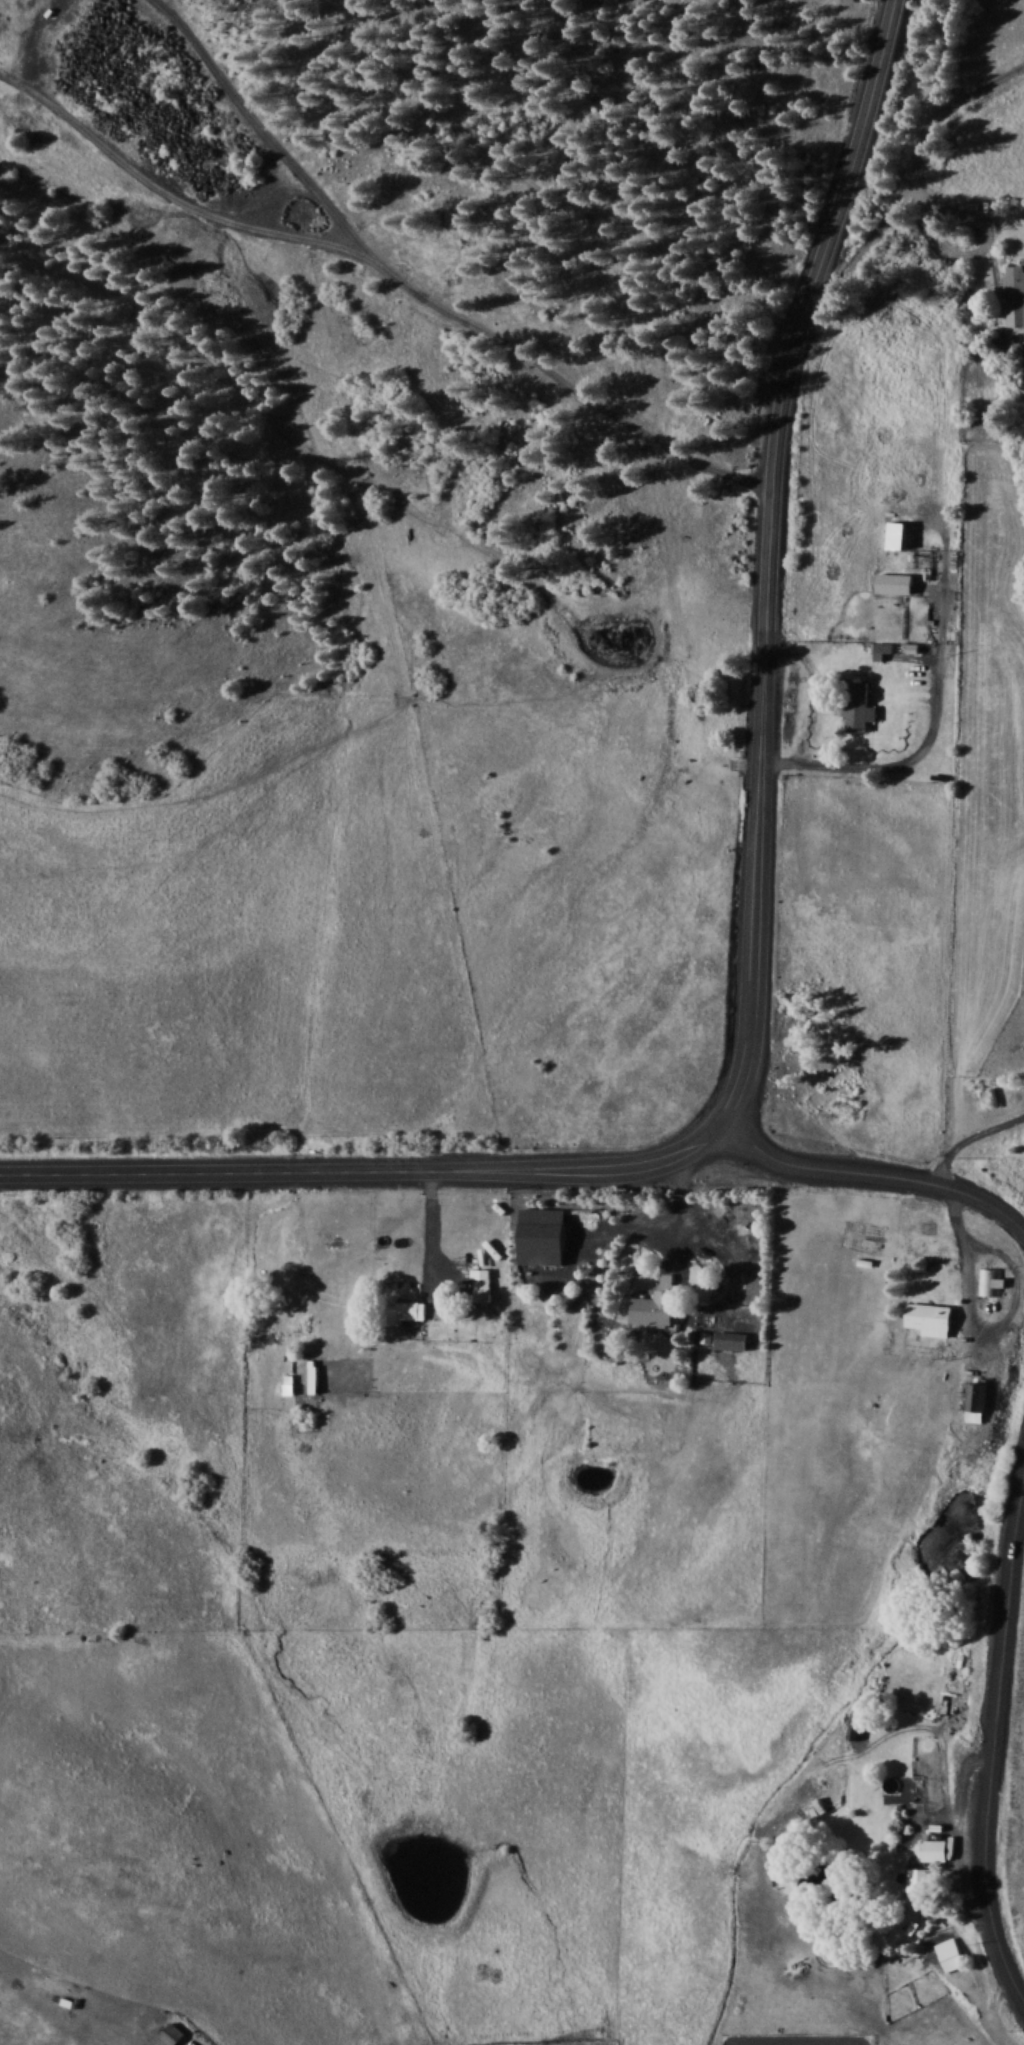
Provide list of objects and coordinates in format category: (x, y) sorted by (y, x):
road: (257, 124)
road: (165, 187)
road: (901, 198)
building: (1015, 294)
road: (564, 373)
road: (770, 555)
building: (895, 583)
building: (883, 650)
building: (859, 707)
road: (922, 746)
road: (970, 1136)
road: (367, 1168)
road: (873, 1171)
road: (681, 1201)
road: (431, 1220)
building: (544, 1236)
road: (965, 1267)
building: (993, 1281)
building: (482, 1284)
building: (656, 1308)
building: (405, 1310)
building: (930, 1316)
building: (732, 1340)
building: (313, 1375)
building: (289, 1383)
building: (974, 1398)
road: (996, 1740)
building: (936, 1850)
building: (923, 1885)
building: (948, 1949)
building: (172, 2036)

